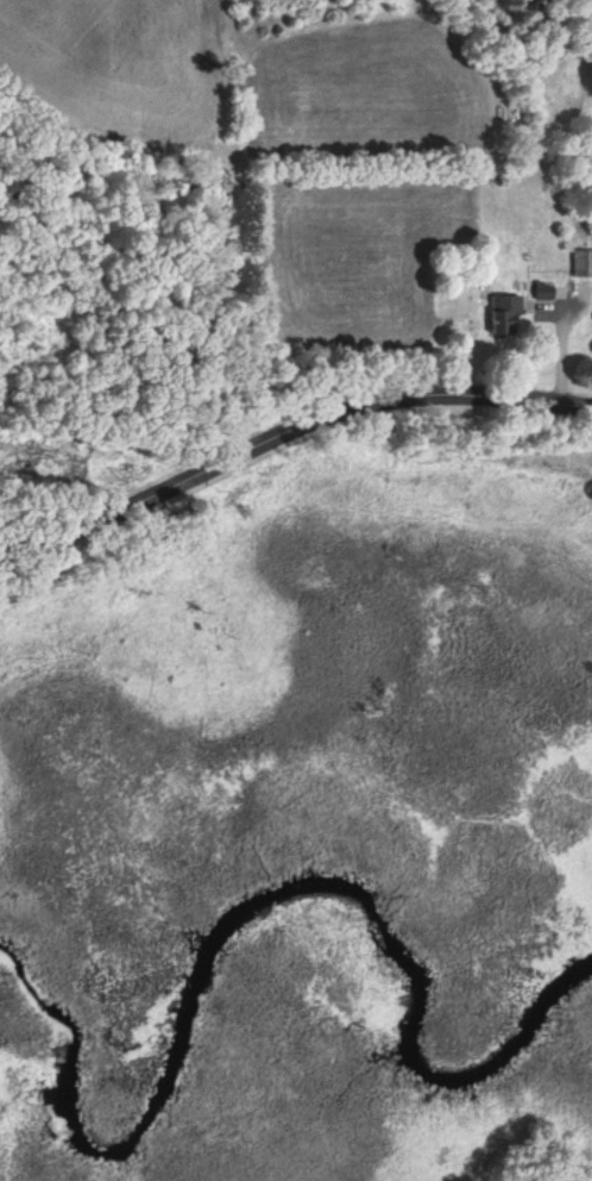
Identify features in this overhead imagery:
crop: (115, 69)
building: (581, 265)
building: (504, 318)
road: (553, 338)
road: (286, 427)
river: (250, 912)

